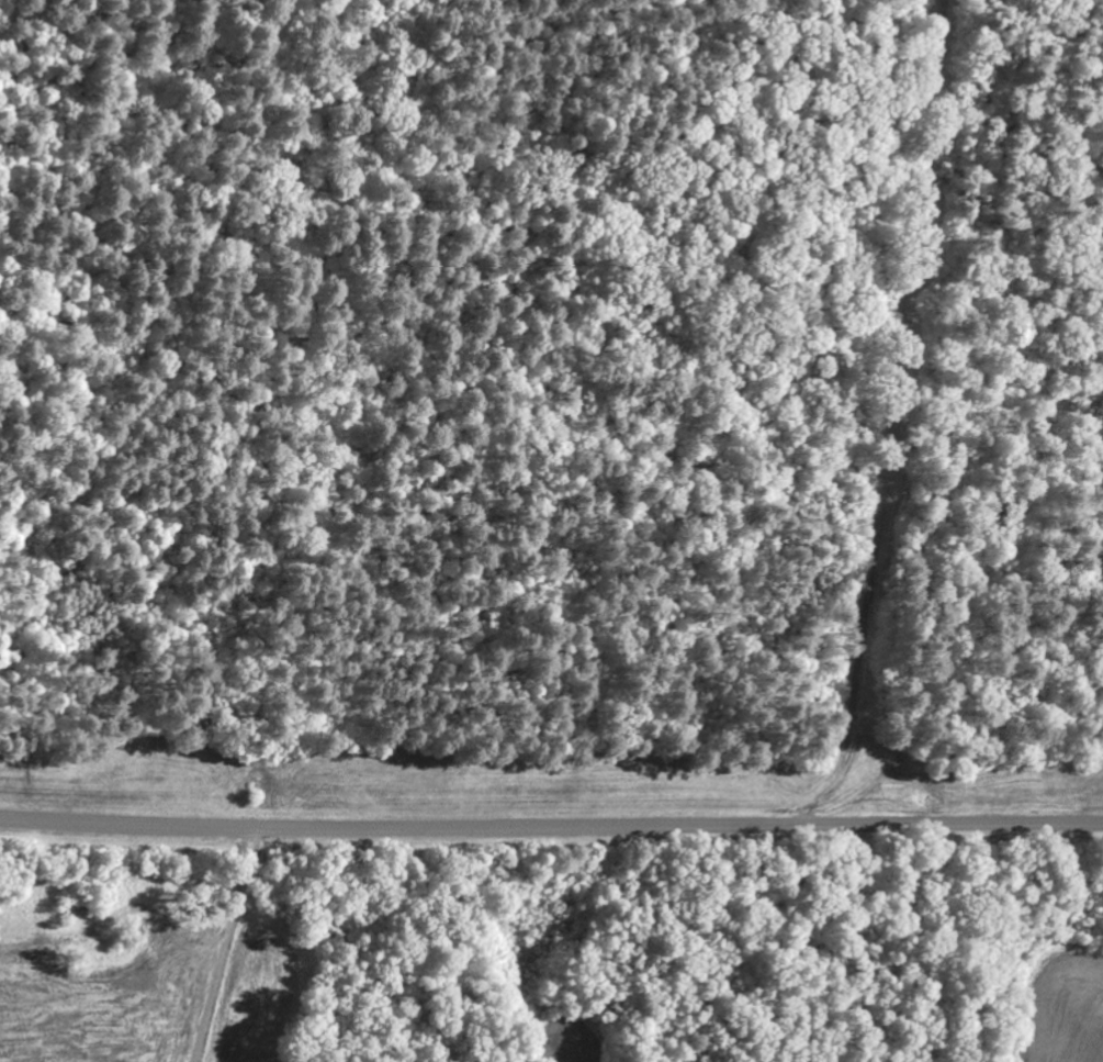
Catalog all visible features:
road: (551, 830)

